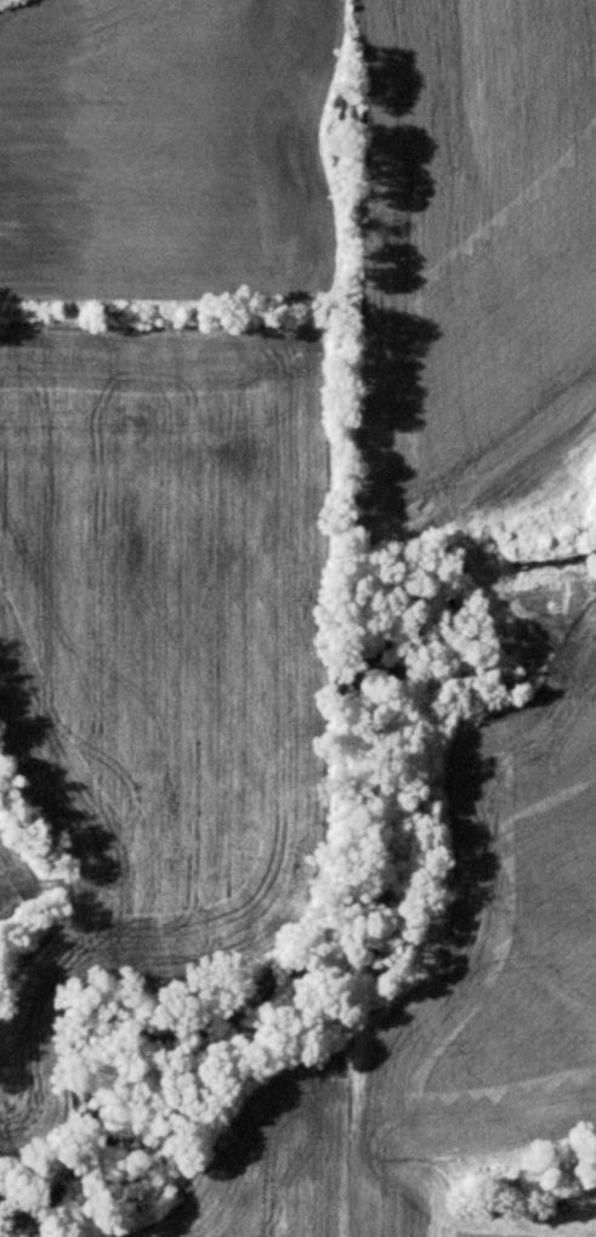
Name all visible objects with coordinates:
building: (539, 1202)

